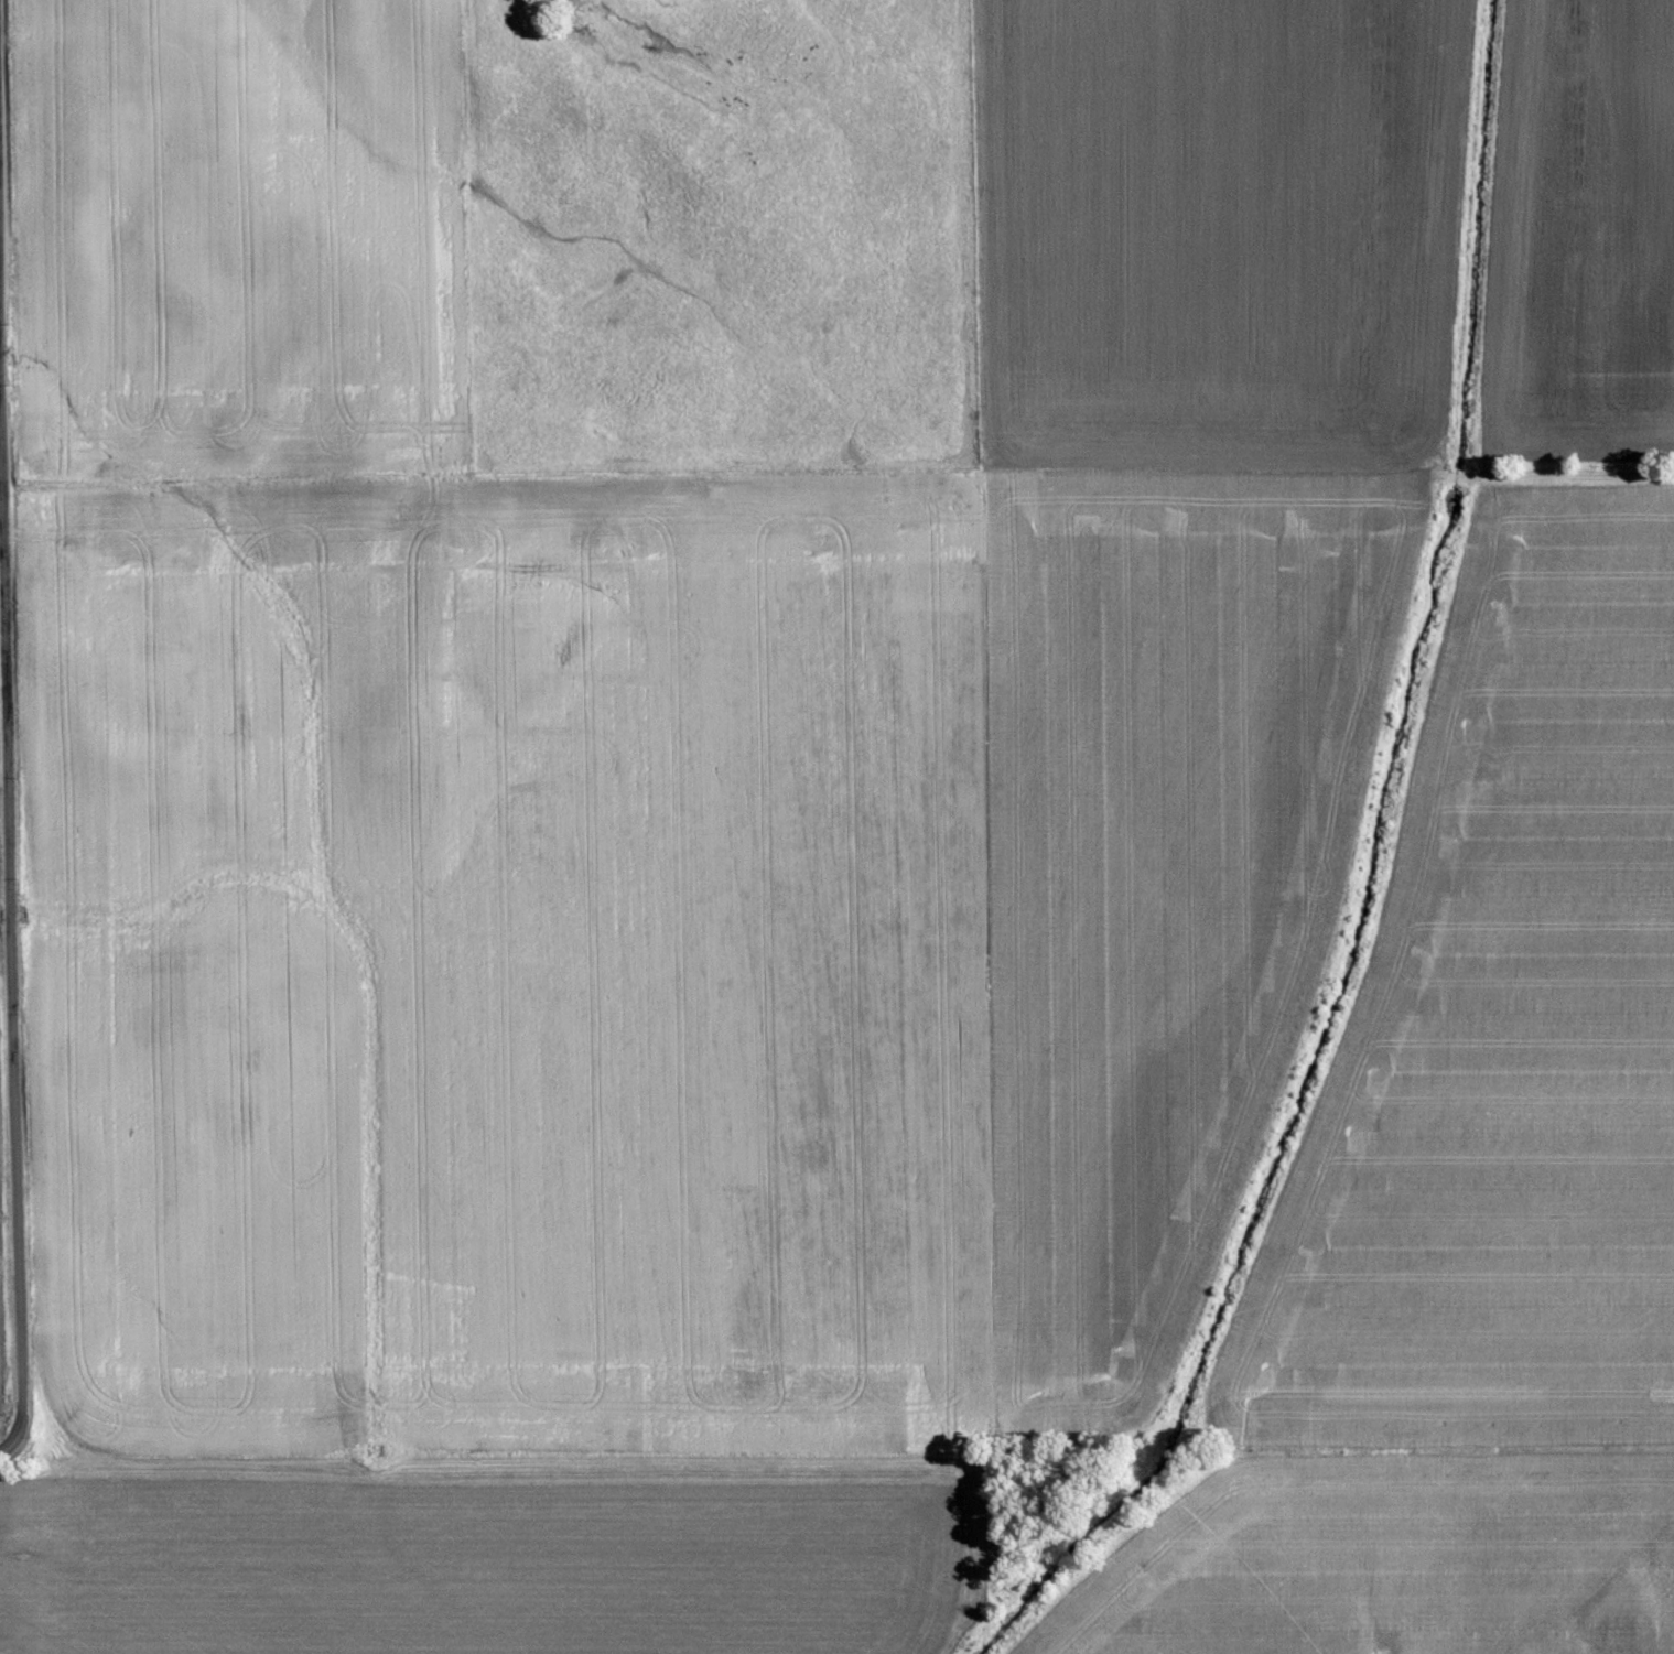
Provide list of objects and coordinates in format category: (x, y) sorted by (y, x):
road: (15, 824)
road: (26, 1434)

